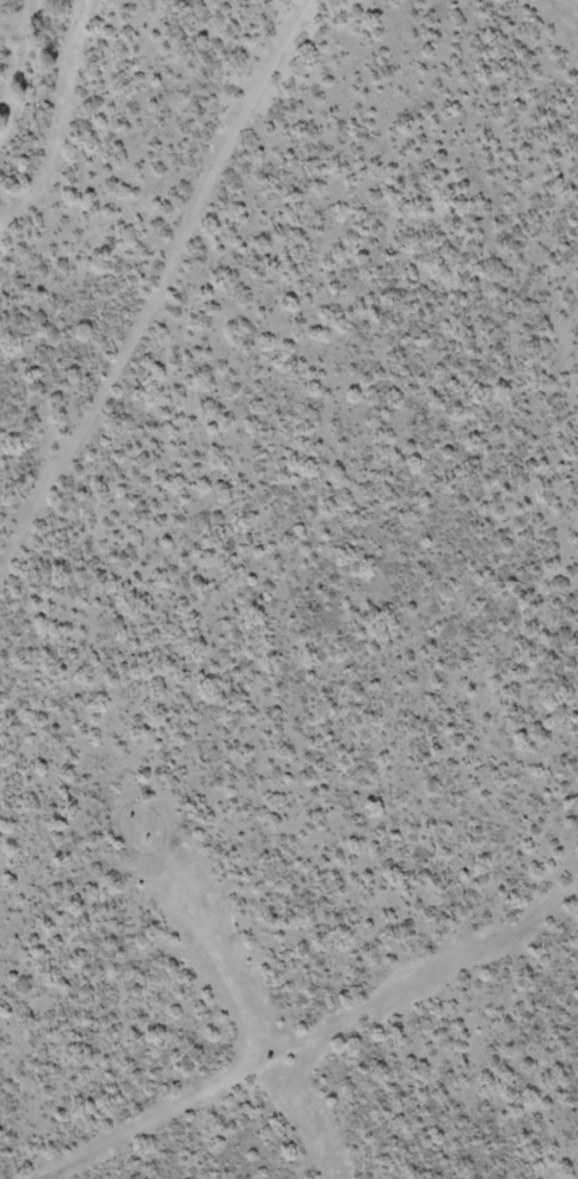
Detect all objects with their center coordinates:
road: (159, 292)

